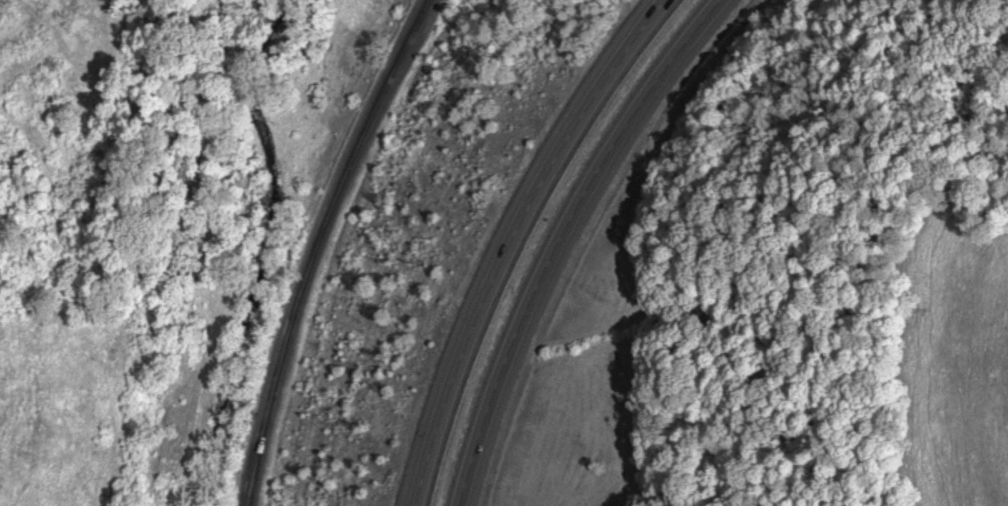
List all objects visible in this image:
road: (564, 237)
road: (516, 238)
road: (319, 245)

